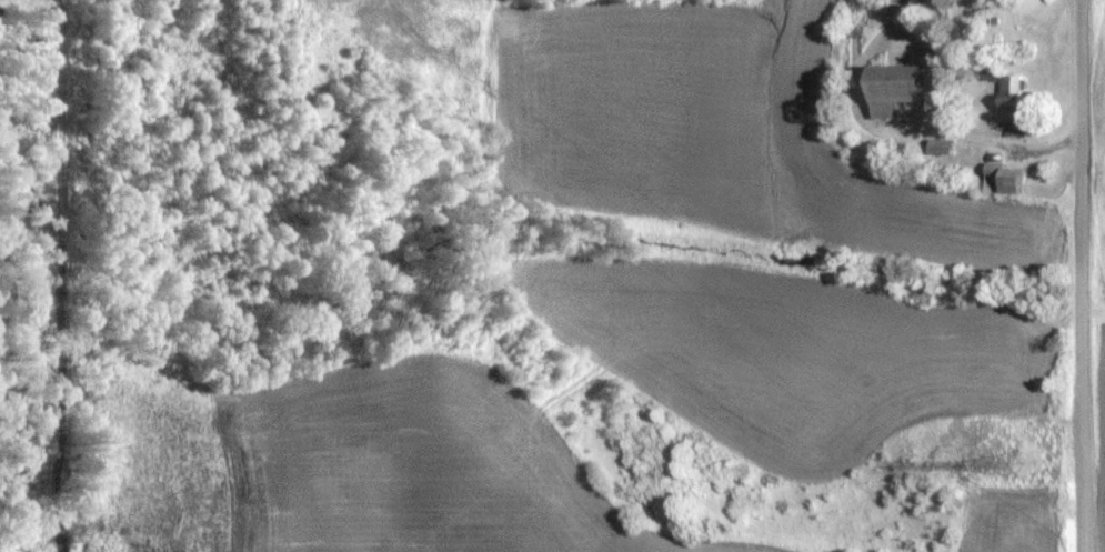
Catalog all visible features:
building: (1011, 88)
building: (901, 89)
building: (1015, 128)
building: (946, 150)
building: (1006, 180)
road: (1086, 275)
power tower: (1026, 470)

